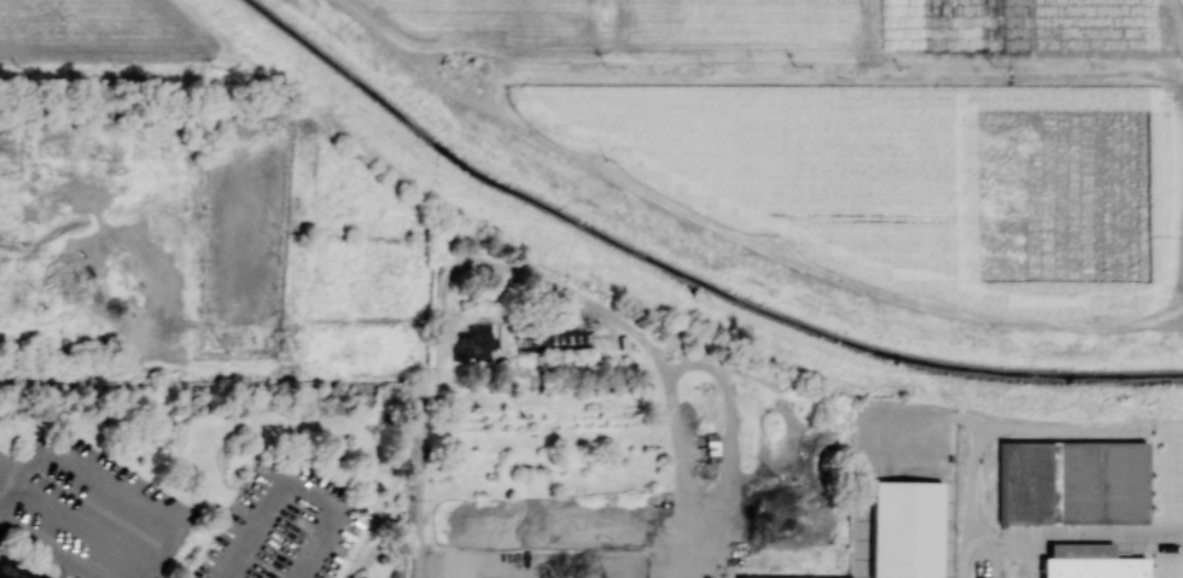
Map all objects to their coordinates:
crop: (775, 29)
crop: (93, 31)
crop: (115, 129)
crop: (910, 185)
crop: (11, 203)
crop: (243, 227)
river: (686, 273)
road: (109, 478)
building: (1071, 481)
road: (293, 486)
road: (75, 521)
building: (904, 529)
road: (1078, 545)
road: (45, 551)
building: (1088, 562)
building: (13, 570)
building: (41, 577)
building: (782, 577)

